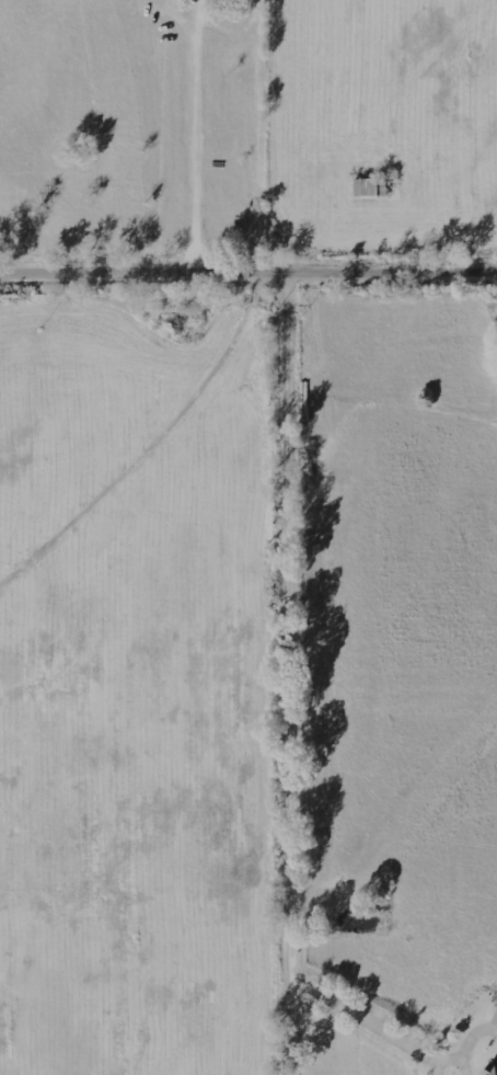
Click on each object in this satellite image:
road: (247, 277)
road: (297, 651)
building: (496, 1018)
building: (494, 1072)

